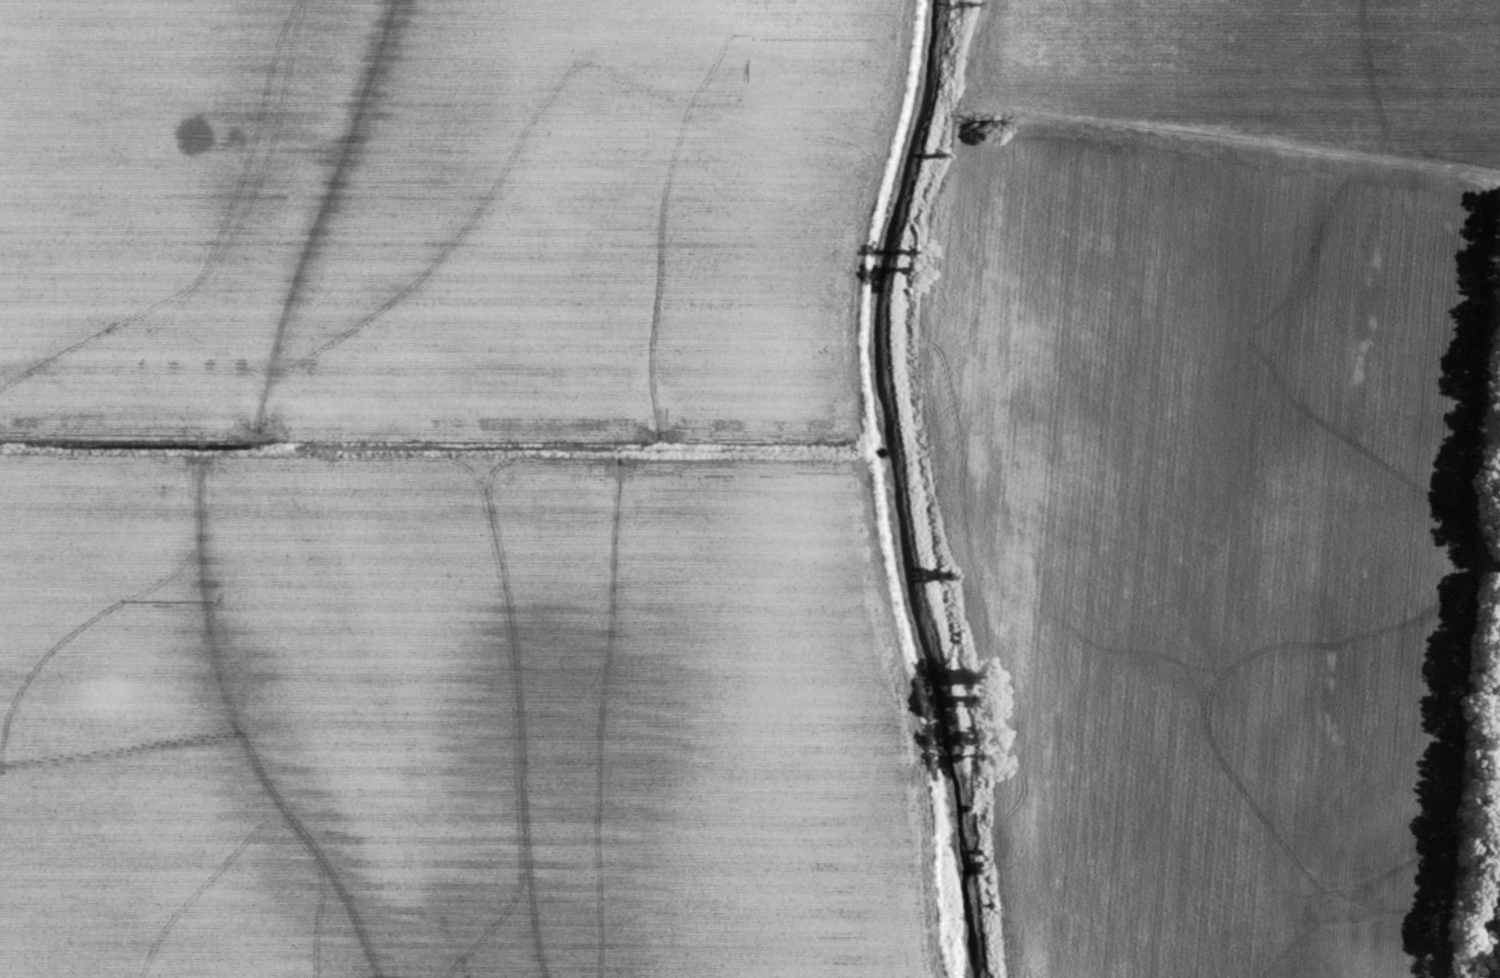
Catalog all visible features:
road: (1420, 165)
road: (947, 489)

